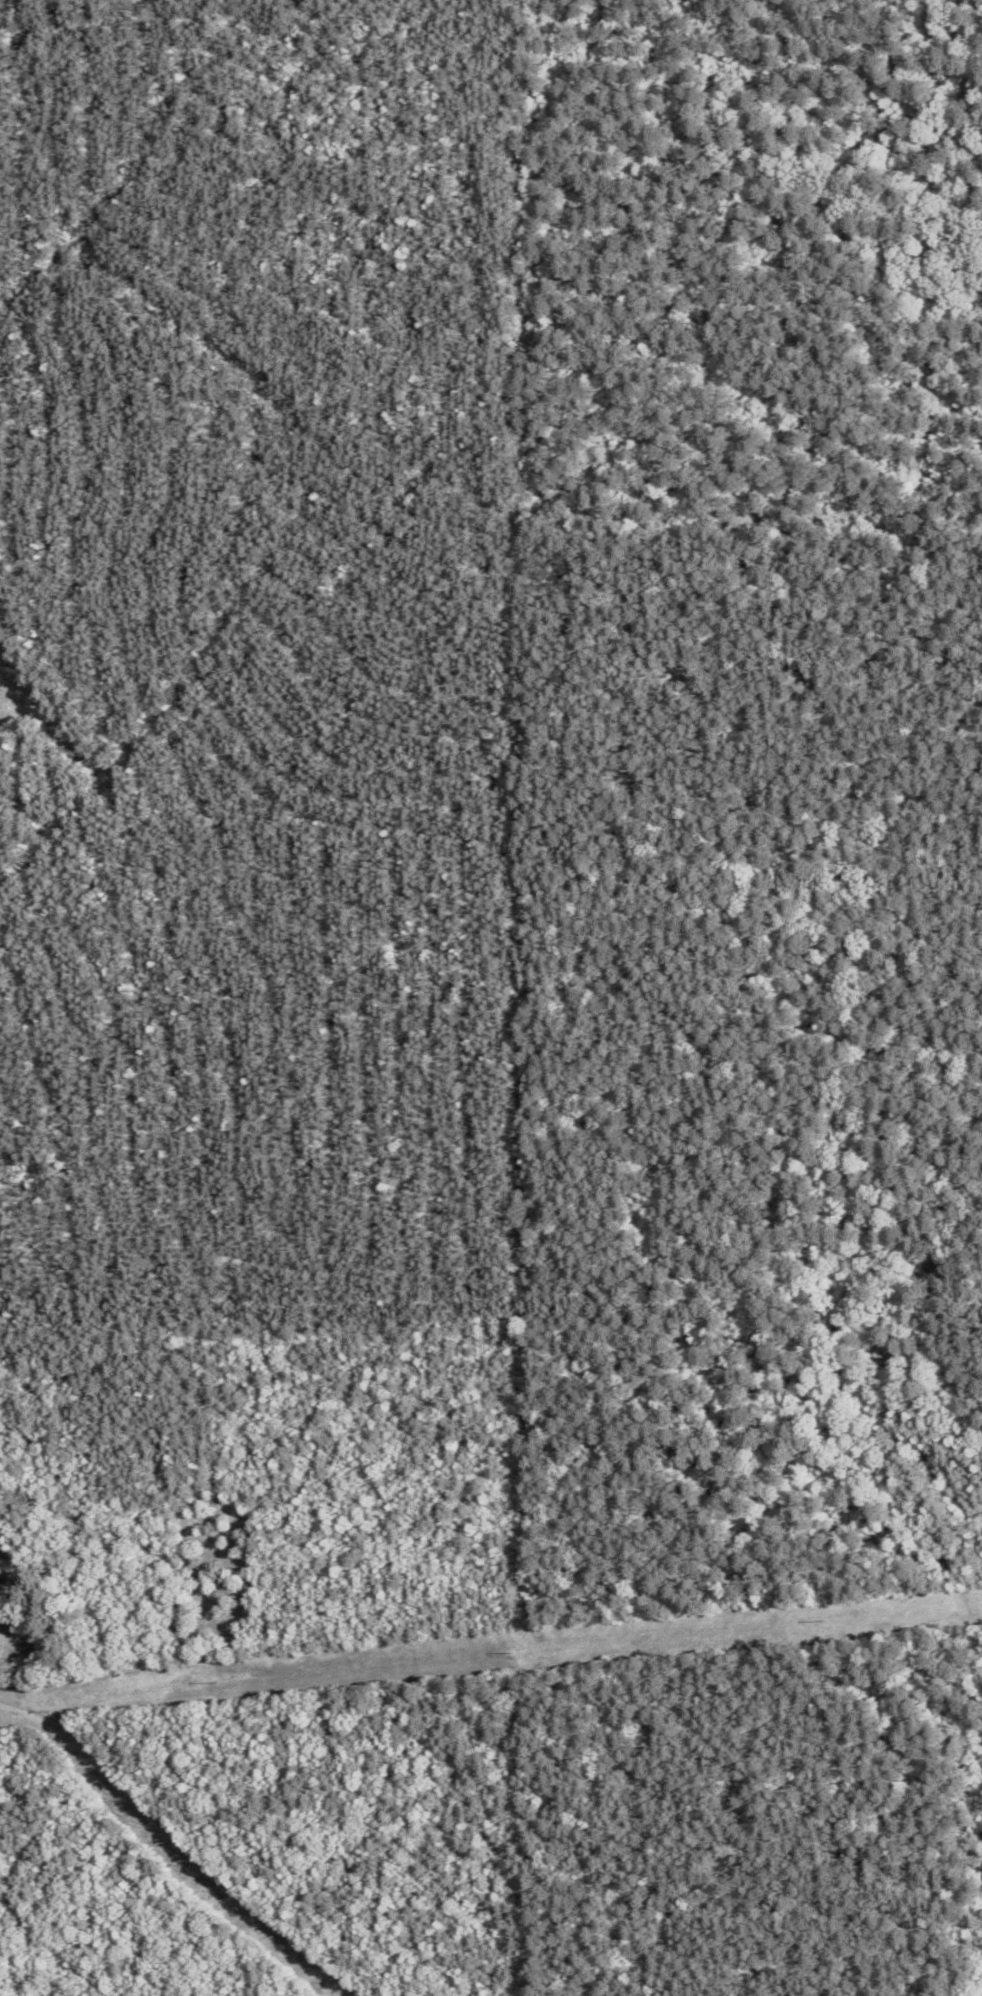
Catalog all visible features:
road: (188, 1840)

